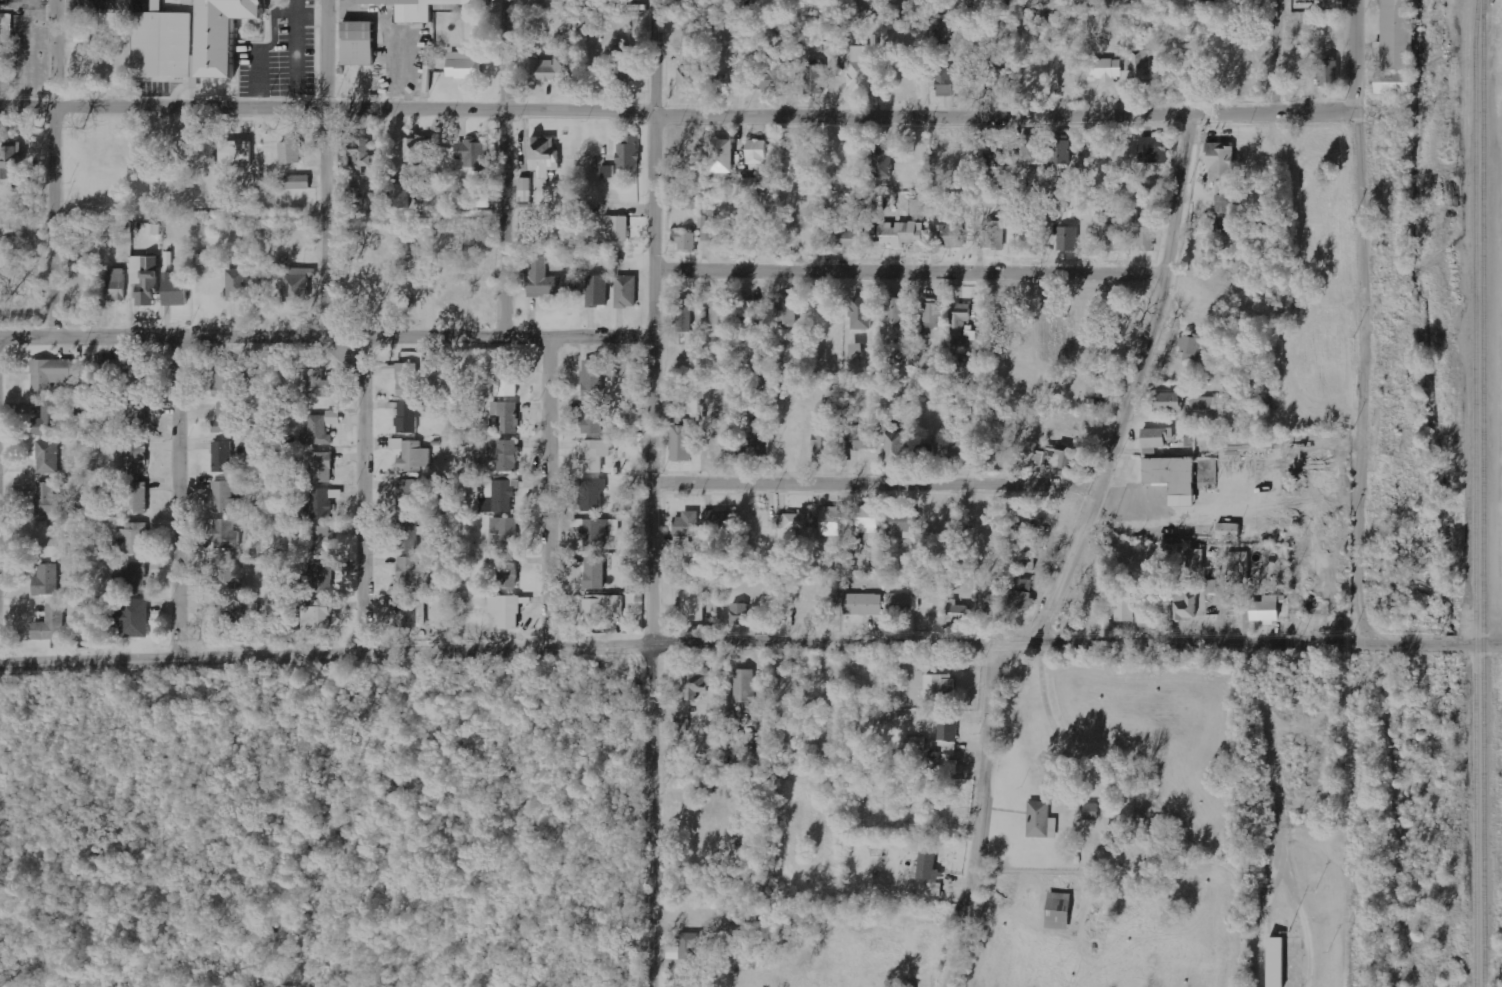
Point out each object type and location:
building: (1209, 0)
building: (422, 7)
building: (951, 30)
building: (187, 37)
building: (353, 45)
building: (1391, 50)
road: (1273, 57)
building: (5, 62)
building: (623, 62)
building: (463, 65)
building: (1142, 67)
building: (554, 69)
building: (1106, 69)
building: (859, 70)
building: (1326, 73)
building: (770, 78)
building: (686, 79)
building: (815, 79)
building: (998, 80)
building: (943, 82)
road: (676, 116)
building: (994, 148)
building: (415, 149)
building: (1059, 149)
building: (1030, 150)
building: (1155, 150)
building: (16, 152)
building: (951, 152)
building: (239, 153)
building: (628, 153)
building: (289, 154)
building: (359, 154)
building: (472, 154)
building: (542, 155)
building: (757, 155)
building: (720, 156)
building: (881, 161)
building: (1219, 161)
road: (499, 169)
road: (51, 170)
road: (323, 170)
building: (17, 173)
building: (296, 182)
building: (525, 184)
building: (750, 184)
building: (400, 195)
building: (1222, 203)
building: (617, 227)
building: (708, 227)
building: (153, 229)
building: (1143, 232)
building: (900, 234)
building: (994, 234)
building: (946, 235)
building: (1111, 235)
building: (845, 238)
building: (1067, 238)
building: (684, 240)
road: (907, 273)
building: (543, 279)
building: (143, 280)
building: (115, 284)
building: (297, 284)
building: (237, 285)
building: (172, 290)
building: (597, 291)
building: (626, 291)
building: (786, 311)
building: (894, 312)
building: (860, 313)
building: (719, 314)
building: (683, 315)
building: (752, 315)
building: (931, 315)
building: (959, 319)
road: (1354, 323)
road: (325, 340)
building: (1189, 347)
building: (855, 352)
building: (52, 373)
building: (128, 373)
building: (226, 378)
building: (405, 378)
building: (591, 378)
building: (261, 380)
building: (318, 384)
road: (1128, 385)
building: (1094, 387)
building: (1166, 401)
building: (1203, 402)
building: (796, 410)
building: (673, 415)
building: (408, 416)
building: (505, 416)
building: (591, 417)
building: (133, 418)
building: (225, 418)
building: (49, 420)
building: (320, 429)
building: (859, 437)
building: (1156, 437)
building: (957, 442)
building: (679, 443)
building: (820, 445)
building: (754, 446)
building: (895, 447)
building: (411, 454)
building: (504, 455)
building: (593, 455)
building: (49, 456)
building: (222, 456)
building: (135, 457)
building: (1064, 457)
building: (322, 467)
building: (1179, 476)
road: (872, 485)
building: (408, 493)
road: (649, 493)
railway: (1481, 493)
building: (502, 494)
road: (546, 494)
building: (591, 495)
road: (362, 497)
building: (138, 498)
building: (224, 498)
building: (50, 501)
road: (175, 501)
building: (322, 504)
building: (720, 519)
building: (867, 519)
building: (830, 521)
building: (797, 522)
building: (685, 529)
building: (1228, 531)
building: (505, 532)
building: (224, 533)
building: (408, 534)
building: (132, 540)
building: (320, 540)
building: (50, 542)
building: (1026, 558)
building: (1194, 558)
building: (408, 571)
building: (594, 573)
building: (507, 575)
building: (224, 576)
building: (134, 577)
building: (322, 578)
building: (49, 580)
building: (1211, 586)
building: (1021, 595)
building: (692, 602)
building: (861, 604)
building: (898, 604)
building: (600, 607)
building: (1185, 607)
building: (1124, 609)
building: (1264, 609)
building: (505, 610)
building: (407, 612)
building: (956, 612)
building: (739, 613)
building: (316, 616)
building: (132, 618)
building: (53, 624)
road: (750, 645)
building: (695, 683)
building: (743, 686)
building: (939, 687)
building: (681, 724)
building: (947, 733)
building: (915, 742)
building: (1090, 811)
road: (978, 819)
building: (1040, 820)
building: (927, 867)
building: (1056, 911)
building: (691, 944)
building: (1275, 962)
building: (688, 981)

